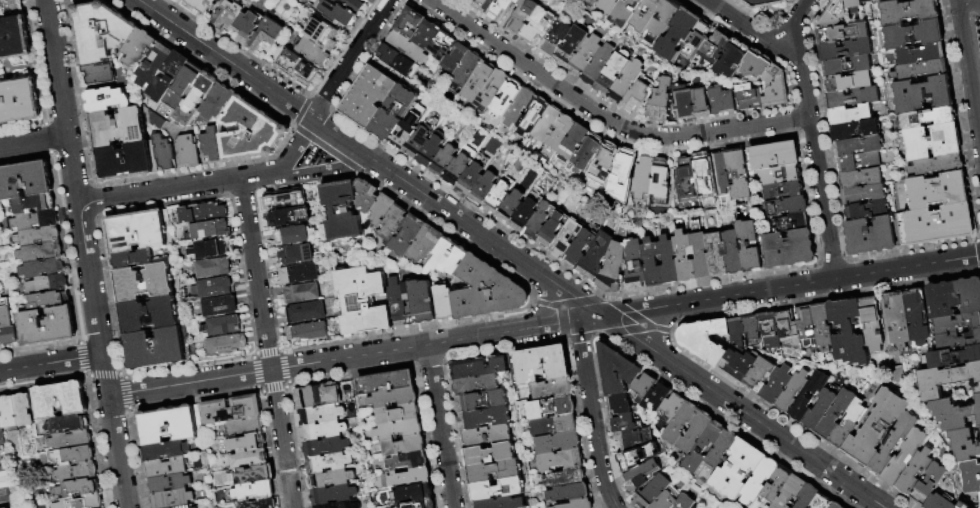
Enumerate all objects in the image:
building: (896, 0)
building: (5, 1)
building: (866, 1)
building: (594, 2)
building: (763, 4)
building: (202, 5)
building: (355, 5)
building: (484, 5)
building: (610, 6)
building: (854, 6)
building: (502, 10)
building: (909, 12)
building: (626, 13)
road: (762, 13)
building: (230, 14)
building: (338, 14)
building: (523, 16)
building: (646, 16)
building: (832, 16)
parking lot: (976, 19)
building: (663, 22)
building: (410, 23)
building: (538, 26)
building: (248, 27)
road: (749, 28)
building: (319, 30)
building: (101, 33)
building: (679, 34)
building: (843, 34)
building: (267, 35)
building: (914, 35)
building: (428, 36)
building: (556, 39)
building: (15, 40)
building: (332, 40)
building: (697, 42)
building: (443, 46)
building: (139, 47)
building: (408, 48)
building: (571, 48)
building: (716, 50)
building: (846, 50)
building: (315, 52)
building: (585, 56)
building: (921, 56)
road: (350, 58)
building: (733, 58)
building: (456, 59)
building: (398, 60)
road: (969, 64)
building: (155, 65)
building: (599, 65)
building: (757, 66)
building: (847, 66)
building: (388, 69)
building: (300, 70)
building: (467, 71)
building: (921, 71)
building: (100, 74)
building: (611, 74)
building: (169, 78)
building: (189, 79)
road: (285, 79)
building: (479, 82)
building: (626, 82)
building: (849, 83)
building: (777, 87)
building: (492, 92)
building: (923, 95)
building: (369, 97)
building: (637, 97)
building: (749, 97)
building: (506, 99)
building: (854, 99)
building: (197, 100)
building: (108, 101)
building: (661, 101)
building: (717, 101)
building: (19, 102)
building: (684, 103)
building: (730, 103)
building: (219, 104)
building: (702, 104)
building: (520, 108)
building: (394, 113)
building: (535, 115)
building: (851, 116)
road: (605, 117)
building: (929, 119)
building: (547, 125)
building: (0, 126)
building: (119, 129)
building: (407, 130)
building: (856, 131)
building: (251, 133)
building: (561, 133)
road: (812, 138)
building: (421, 139)
road: (33, 140)
building: (574, 143)
building: (934, 143)
building: (212, 147)
building: (859, 147)
road: (295, 148)
building: (188, 152)
building: (432, 152)
building: (165, 154)
building: (587, 154)
building: (775, 156)
building: (127, 162)
building: (445, 162)
building: (606, 163)
building: (859, 163)
building: (461, 166)
building: (938, 167)
road: (323, 168)
building: (623, 172)
building: (721, 173)
building: (704, 175)
building: (739, 176)
building: (780, 176)
building: (25, 178)
building: (644, 178)
building: (688, 179)
building: (471, 180)
building: (861, 180)
building: (661, 182)
road: (175, 188)
building: (485, 189)
building: (784, 192)
building: (938, 192)
building: (499, 195)
building: (864, 195)
building: (310, 196)
building: (367, 196)
building: (285, 200)
building: (33, 202)
building: (511, 207)
building: (788, 208)
building: (382, 211)
building: (868, 211)
building: (343, 212)
building: (204, 213)
building: (524, 216)
building: (290, 217)
building: (34, 219)
building: (541, 221)
building: (394, 223)
building: (791, 224)
building: (940, 225)
building: (554, 230)
building: (209, 231)
building: (140, 232)
building: (38, 235)
building: (294, 236)
building: (409, 236)
building: (873, 236)
building: (568, 239)
building: (425, 246)
building: (583, 246)
building: (750, 247)
building: (211, 250)
building: (791, 250)
building: (39, 251)
road: (86, 253)
building: (701, 253)
building: (732, 253)
road: (511, 254)
building: (297, 255)
building: (716, 255)
building: (450, 257)
building: (597, 258)
building: (685, 258)
building: (132, 260)
building: (669, 261)
building: (653, 264)
building: (636, 266)
building: (41, 267)
building: (214, 269)
building: (614, 270)
building: (300, 275)
building: (48, 282)
building: (145, 283)
building: (215, 288)
building: (488, 291)
building: (303, 293)
building: (47, 298)
building: (955, 298)
building: (364, 301)
building: (420, 302)
building: (397, 303)
building: (445, 304)
road: (546, 304)
building: (220, 307)
building: (307, 313)
building: (150, 315)
building: (918, 319)
building: (898, 321)
building: (6, 325)
building: (47, 325)
road: (544, 325)
building: (806, 325)
building: (873, 325)
building: (956, 325)
building: (223, 326)
road: (655, 328)
building: (789, 328)
building: (823, 329)
building: (753, 331)
building: (771, 332)
building: (309, 333)
building: (738, 333)
building: (848, 333)
building: (703, 339)
building: (958, 341)
road: (267, 343)
building: (228, 345)
building: (159, 349)
building: (951, 359)
road: (51, 363)
building: (742, 364)
building: (539, 365)
building: (477, 368)
building: (760, 375)
building: (618, 378)
building: (947, 381)
building: (382, 383)
building: (477, 384)
building: (777, 385)
building: (552, 389)
building: (644, 389)
building: (793, 393)
building: (317, 396)
building: (810, 396)
building: (392, 398)
building: (658, 399)
building: (59, 400)
building: (481, 401)
building: (674, 407)
building: (551, 408)
building: (231, 409)
building: (23, 410)
building: (820, 411)
building: (8, 413)
building: (397, 414)
road: (592, 415)
building: (836, 415)
building: (319, 416)
building: (956, 416)
building: (484, 419)
building: (198, 420)
building: (66, 424)
building: (166, 424)
building: (681, 424)
building: (624, 425)
road: (440, 426)
building: (553, 426)
building: (849, 426)
building: (244, 427)
building: (876, 428)
building: (398, 430)
building: (322, 431)
building: (696, 433)
building: (486, 436)
building: (634, 439)
building: (70, 440)
building: (248, 443)
building: (557, 443)
building: (894, 444)
building: (324, 446)
building: (402, 446)
building: (965, 446)
building: (704, 448)
building: (722, 449)
building: (164, 450)
building: (490, 455)
building: (70, 456)
building: (638, 457)
building: (905, 458)
building: (249, 459)
building: (560, 460)
building: (407, 461)
building: (326, 463)
building: (165, 467)
building: (738, 471)
building: (494, 472)
building: (915, 472)
building: (75, 473)
building: (251, 475)
building: (643, 475)
building: (971, 477)
building: (410, 478)
building: (565, 478)
building: (330, 479)
building: (760, 481)
building: (168, 482)
building: (930, 484)
building: (777, 485)
building: (3, 487)
building: (75, 489)
building: (496, 490)
building: (254, 491)
building: (790, 492)
building: (412, 493)
building: (569, 493)
building: (653, 493)
building: (332, 495)
building: (170, 497)
building: (808, 497)
building: (667, 499)
building: (79, 502)
building: (823, 502)
building: (939, 502)
building: (258, 503)
building: (422, 503)
building: (501, 503)
building: (686, 503)
building: (577, 504)
building: (341, 505)
building: (179, 506)
building: (836, 506)
building: (193, 507)
building: (695, 507)
building: (976, 507)

